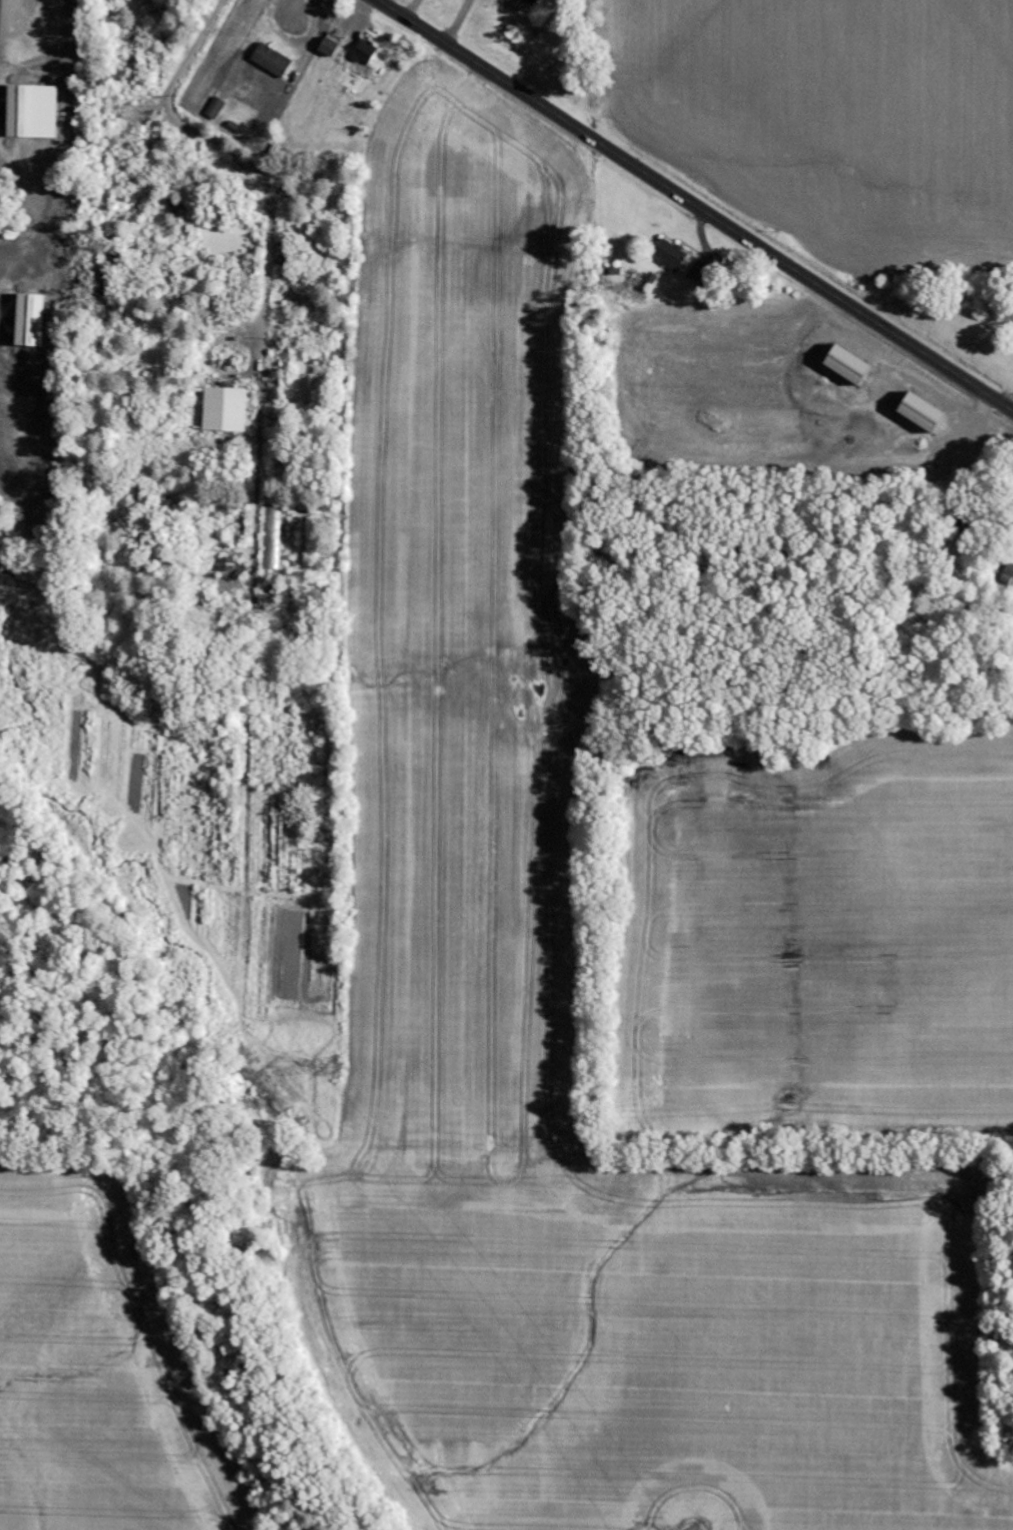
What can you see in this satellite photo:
building: (534, 1)
building: (332, 45)
building: (363, 57)
building: (273, 61)
building: (216, 109)
building: (34, 112)
building: (137, 113)
road: (695, 204)
building: (671, 255)
building: (32, 321)
building: (851, 366)
building: (228, 410)
building: (925, 413)
building: (274, 539)
building: (228, 565)
power tower: (332, 1066)

